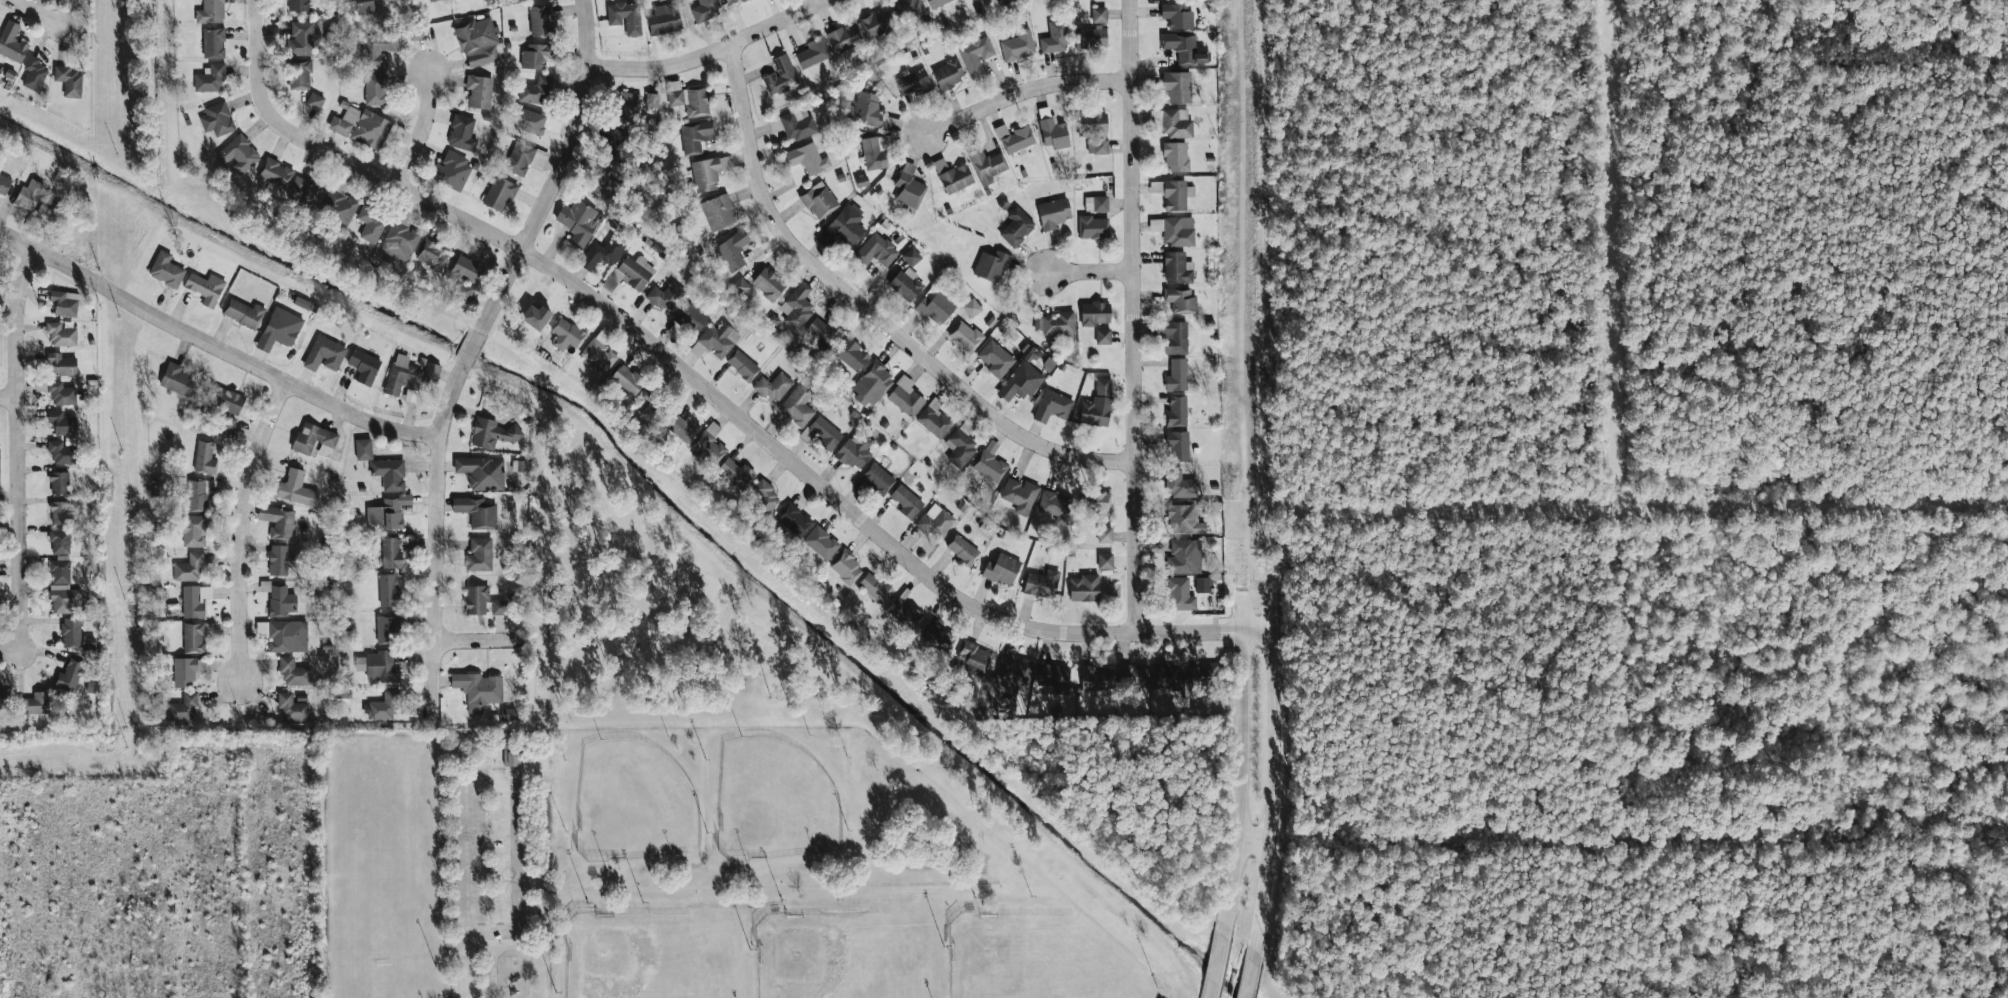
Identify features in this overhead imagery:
building: (384, 0)
building: (431, 0)
building: (731, 2)
building: (935, 3)
building: (298, 5)
building: (358, 6)
building: (704, 10)
building: (911, 10)
road: (38, 12)
building: (210, 12)
building: (1098, 14)
building: (1176, 15)
building: (624, 16)
building: (664, 18)
building: (540, 20)
building: (859, 31)
building: (416, 32)
building: (1054, 37)
building: (1090, 37)
building: (302, 38)
building: (477, 41)
building: (12, 42)
building: (213, 42)
building: (1017, 45)
building: (377, 48)
building: (1183, 48)
road: (712, 51)
building: (812, 52)
road: (255, 54)
building: (975, 55)
building: (534, 56)
building: (33, 73)
building: (948, 73)
building: (299, 74)
building: (780, 75)
building: (209, 78)
building: (68, 80)
building: (913, 82)
building: (1177, 86)
building: (374, 88)
building: (536, 90)
building: (479, 91)
road: (1025, 93)
building: (687, 98)
building: (651, 100)
building: (314, 101)
building: (627, 108)
building: (867, 108)
building: (217, 119)
building: (529, 120)
building: (797, 123)
building: (1175, 123)
building: (893, 124)
building: (361, 126)
building: (1051, 129)
road: (420, 132)
building: (461, 133)
building: (695, 135)
building: (1014, 138)
building: (615, 142)
building: (876, 150)
building: (238, 153)
building: (1176, 156)
building: (523, 157)
building: (807, 158)
building: (986, 165)
building: (451, 170)
building: (708, 171)
building: (275, 172)
road: (558, 172)
building: (952, 176)
building: (4, 184)
building: (909, 188)
building: (302, 189)
building: (499, 193)
building: (1172, 193)
building: (28, 194)
building: (818, 199)
building: (1095, 203)
building: (338, 206)
building: (48, 208)
building: (717, 212)
building: (1053, 213)
building: (578, 222)
building: (370, 223)
building: (843, 226)
building: (1016, 227)
building: (1092, 227)
building: (1174, 230)
road: (18, 241)
building: (399, 241)
building: (732, 250)
building: (876, 250)
building: (601, 253)
building: (432, 254)
building: (911, 256)
building: (990, 265)
building: (1177, 267)
building: (466, 268)
building: (165, 269)
road: (1090, 271)
building: (630, 273)
building: (768, 283)
building: (906, 284)
building: (205, 287)
building: (739, 287)
building: (464, 291)
building: (665, 295)
building: (1179, 299)
building: (64, 302)
building: (797, 306)
building: (935, 306)
building: (971, 307)
road: (871, 310)
building: (243, 312)
building: (1095, 313)
building: (535, 315)
road: (1133, 315)
building: (690, 317)
building: (1054, 322)
building: (279, 328)
building: (824, 332)
building: (61, 334)
building: (565, 334)
building: (1103, 335)
building: (965, 336)
building: (1173, 336)
building: (716, 339)
road: (470, 348)
building: (324, 354)
building: (851, 354)
building: (597, 355)
road: (232, 356)
building: (995, 358)
building: (61, 363)
building: (363, 365)
building: (742, 365)
building: (431, 371)
building: (402, 374)
building: (1176, 374)
building: (177, 379)
building: (626, 379)
building: (1020, 381)
building: (871, 384)
building: (773, 386)
building: (58, 392)
road: (7, 396)
building: (905, 396)
building: (225, 405)
building: (1097, 405)
building: (796, 406)
building: (1051, 406)
building: (652, 409)
building: (1176, 411)
building: (933, 419)
building: (62, 422)
building: (681, 426)
road: (752, 428)
building: (493, 433)
building: (825, 433)
building: (314, 440)
building: (1177, 445)
building: (708, 446)
road: (16, 447)
building: (959, 447)
building: (363, 449)
building: (62, 452)
building: (853, 452)
building: (204, 458)
building: (518, 465)
building: (988, 465)
building: (480, 471)
building: (736, 472)
building: (389, 473)
building: (876, 478)
building: (58, 482)
building: (1179, 484)
building: (296, 488)
building: (194, 495)
building: (1019, 495)
building: (763, 497)
building: (906, 501)
building: (1095, 502)
building: (1053, 503)
building: (59, 512)
building: (387, 512)
building: (476, 512)
building: (1183, 518)
building: (793, 520)
building: (277, 521)
building: (935, 521)
road: (240, 528)
building: (192, 530)
building: (1104, 534)
building: (59, 540)
road: (434, 540)
building: (821, 542)
building: (962, 549)
building: (390, 552)
building: (478, 554)
building: (1184, 556)
building: (279, 559)
building: (1104, 560)
building: (188, 567)
building: (845, 567)
building: (1001, 568)
building: (60, 571)
building: (1041, 583)
building: (1201, 585)
building: (875, 587)
building: (1083, 588)
building: (388, 590)
building: (1179, 594)
building: (64, 598)
building: (475, 599)
building: (194, 600)
building: (280, 600)
building: (498, 607)
building: (904, 613)
building: (387, 628)
building: (74, 634)
building: (195, 635)
building: (287, 636)
building: (937, 637)
road: (475, 640)
road: (10, 650)
building: (971, 658)
building: (377, 666)
building: (293, 671)
building: (185, 672)
building: (1200, 673)
building: (1131, 674)
building: (68, 676)
building: (1095, 676)
building: (1167, 676)
building: (1051, 677)
building: (477, 689)
building: (4, 697)
building: (33, 703)
building: (384, 705)
building: (291, 707)
building: (183, 709)
building: (509, 714)
building: (511, 755)
road: (508, 784)
road: (1240, 784)
road: (1273, 793)
park: (775, 800)
park: (633, 801)
road: (1254, 841)
parking lot: (509, 853)
parking lot: (466, 855)
park: (679, 872)
road: (753, 885)
road: (531, 944)
park: (655, 955)
park: (847, 955)
park: (1038, 959)
road: (467, 964)
road: (1217, 966)
road: (1250, 977)

